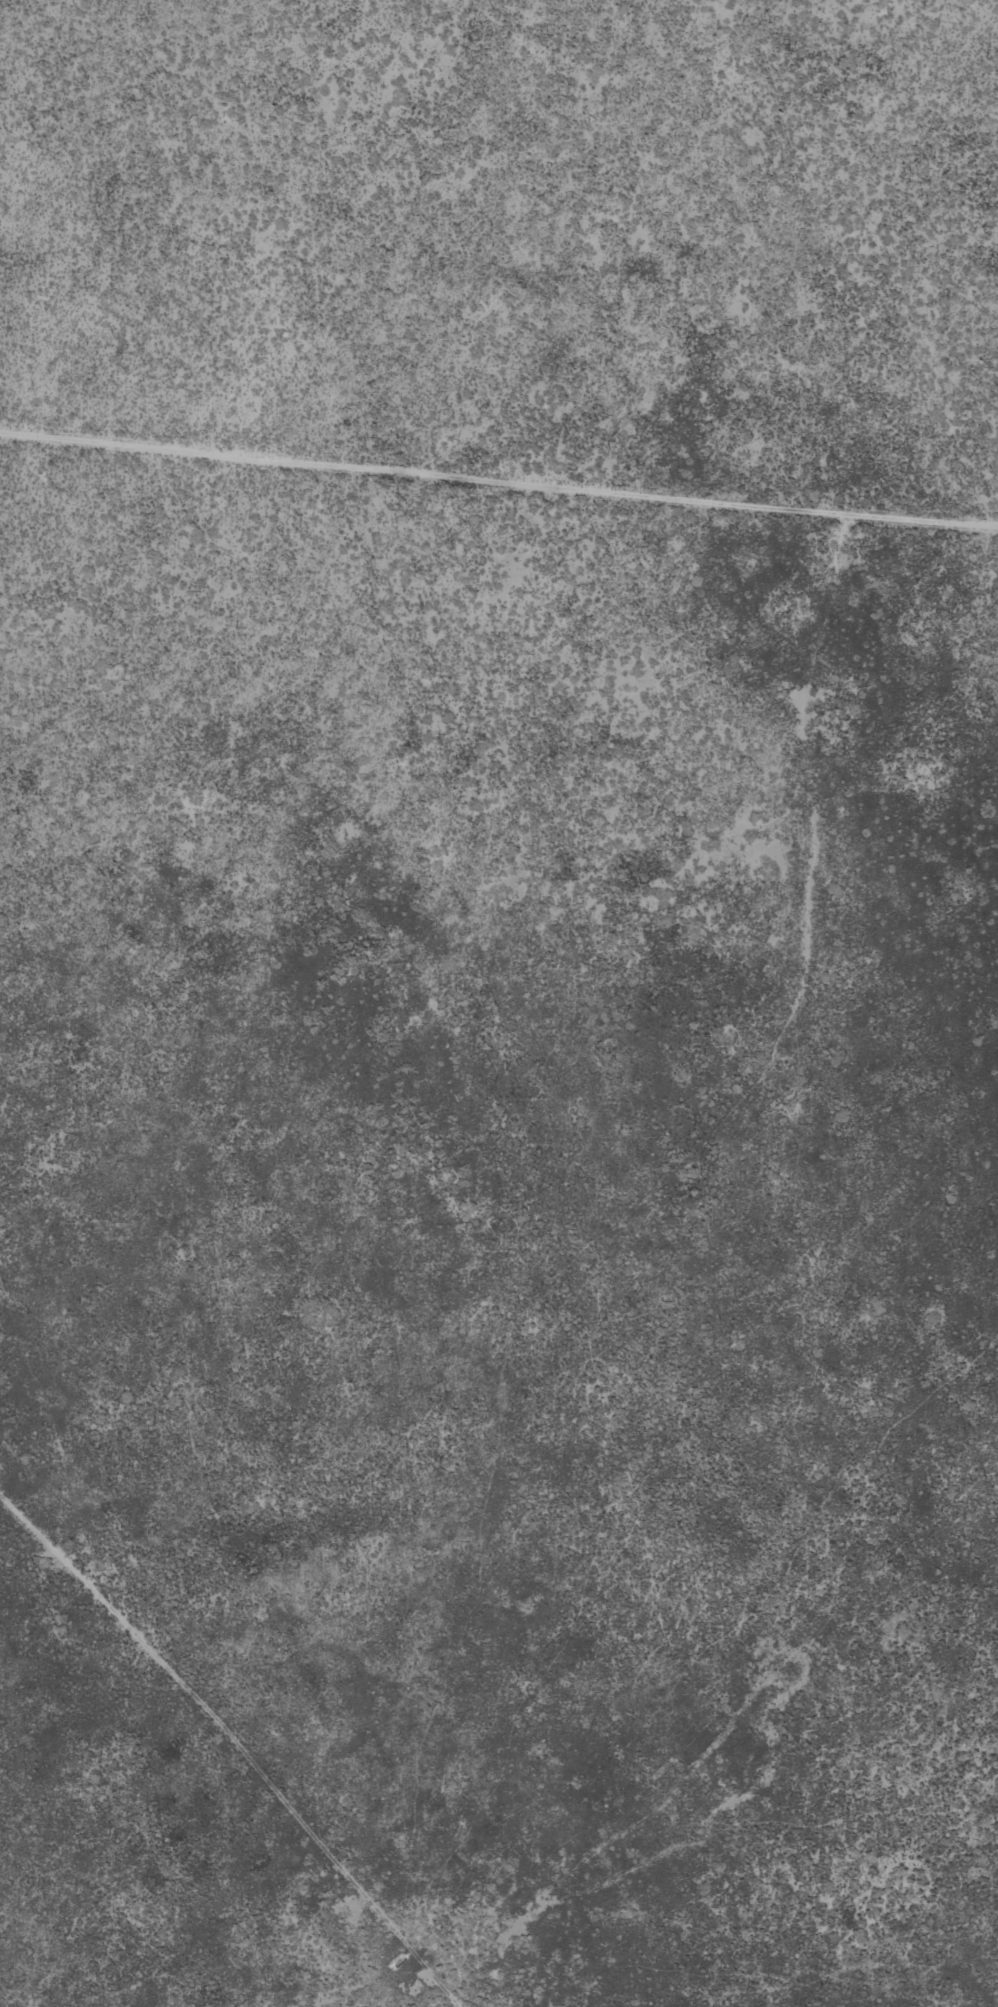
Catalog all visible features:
road: (499, 585)

